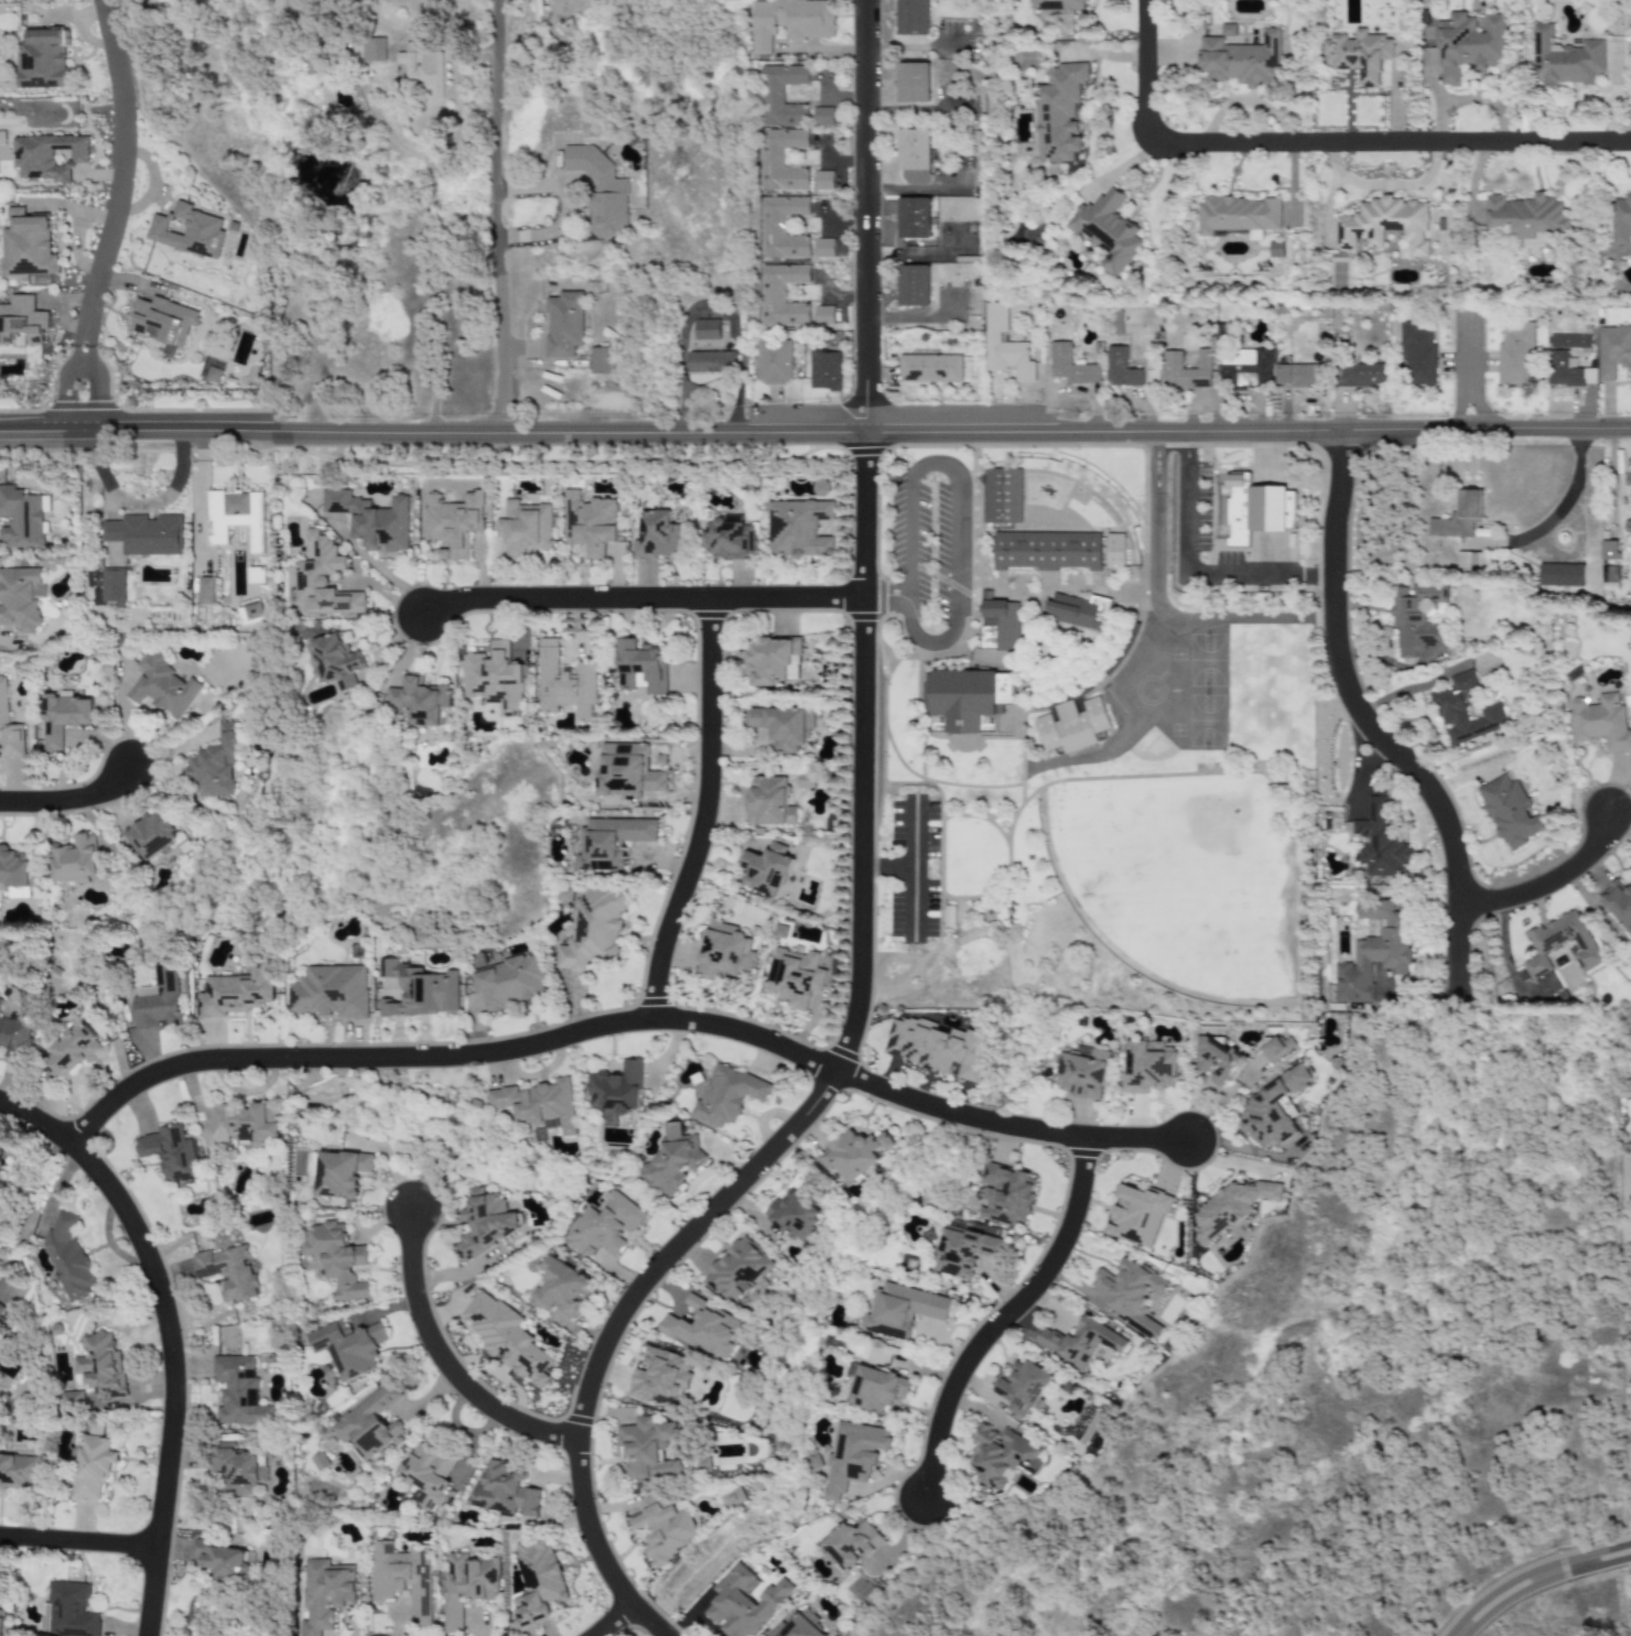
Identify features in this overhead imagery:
building: (1558, 1)
building: (1057, 6)
building: (912, 18)
building: (788, 21)
building: (1228, 30)
road: (439, 41)
building: (1468, 45)
road: (906, 46)
building: (372, 50)
building: (1358, 55)
building: (1564, 59)
building: (42, 61)
building: (1241, 61)
building: (422, 68)
building: (912, 83)
building: (780, 96)
road: (911, 112)
building: (1058, 112)
building: (822, 117)
building: (0, 139)
road: (1319, 145)
building: (914, 150)
building: (47, 156)
building: (781, 160)
building: (822, 181)
road: (428, 188)
building: (600, 192)
road: (561, 215)
road: (116, 216)
building: (1239, 216)
road: (496, 217)
road: (862, 217)
building: (912, 218)
building: (1526, 218)
road: (839, 221)
building: (1620, 221)
building: (1384, 225)
building: (781, 228)
building: (1106, 230)
building: (186, 231)
building: (26, 246)
building: (822, 249)
road: (918, 253)
building: (914, 285)
building: (780, 295)
road: (834, 296)
road: (706, 305)
building: (822, 316)
road: (921, 319)
building: (162, 321)
building: (21, 322)
building: (563, 324)
building: (704, 329)
building: (1568, 340)
building: (1003, 345)
building: (1613, 350)
building: (1416, 353)
building: (1513, 354)
building: (601, 360)
building: (773, 361)
building: (710, 362)
building: (1070, 366)
building: (1246, 367)
building: (929, 368)
building: (1120, 369)
building: (823, 370)
building: (1185, 370)
road: (1463, 372)
building: (213, 375)
building: (1297, 376)
building: (1361, 376)
road: (815, 434)
road: (932, 463)
building: (1628, 483)
building: (1002, 496)
road: (1566, 499)
road: (138, 507)
building: (1255, 509)
building: (1458, 516)
building: (235, 517)
building: (20, 518)
building: (371, 521)
building: (451, 523)
building: (587, 523)
building: (1627, 527)
building: (523, 528)
building: (798, 529)
building: (144, 534)
building: (656, 535)
building: (726, 539)
building: (1113, 550)
building: (1046, 551)
building: (1609, 551)
road: (906, 552)
road: (954, 552)
road: (1190, 572)
building: (1559, 575)
building: (323, 581)
building: (112, 586)
building: (206, 591)
building: (18, 597)
road: (886, 598)
road: (635, 599)
road: (1158, 606)
building: (1079, 611)
building: (250, 614)
building: (1416, 620)
building: (998, 626)
road: (930, 644)
building: (333, 661)
building: (771, 662)
building: (640, 667)
building: (493, 678)
building: (563, 684)
building: (162, 686)
building: (964, 697)
building: (418, 701)
building: (1465, 711)
building: (62, 718)
building: (1599, 723)
building: (938, 724)
building: (1072, 725)
building: (780, 726)
road: (1365, 728)
building: (8, 729)
building: (213, 766)
building: (627, 771)
building: (803, 780)
road: (73, 799)
building: (768, 802)
building: (1509, 812)
road: (701, 813)
building: (150, 835)
building: (1379, 841)
building: (611, 842)
building: (73, 859)
building: (13, 867)
road: (888, 868)
building: (765, 869)
road: (912, 869)
road: (1551, 879)
building: (18, 892)
building: (1619, 904)
building: (592, 929)
building: (1559, 943)
building: (725, 952)
building: (1372, 952)
building: (795, 976)
building: (508, 982)
building: (418, 990)
building: (330, 992)
building: (235, 993)
building: (156, 999)
road: (568, 1033)
building: (14, 1036)
building: (937, 1047)
building: (1275, 1048)
building: (72, 1051)
building: (1217, 1061)
building: (1147, 1066)
building: (1079, 1071)
road: (821, 1086)
building: (615, 1088)
building: (726, 1095)
building: (537, 1104)
building: (1274, 1110)
building: (241, 1124)
road: (1137, 1139)
building: (168, 1152)
building: (853, 1153)
building: (671, 1160)
building: (336, 1172)
building: (1004, 1194)
building: (1229, 1209)
building: (792, 1214)
building: (1137, 1214)
building: (483, 1224)
building: (602, 1226)
building: (962, 1250)
building: (66, 1257)
building: (335, 1258)
building: (736, 1269)
building: (227, 1272)
building: (560, 1288)
building: (1130, 1292)
building: (900, 1310)
building: (3, 1314)
road: (994, 1324)
building: (704, 1328)
road: (164, 1337)
building: (505, 1337)
building: (1080, 1342)
building: (349, 1348)
road: (436, 1356)
building: (659, 1376)
building: (1022, 1387)
building: (876, 1389)
building: (238, 1391)
building: (368, 1424)
building: (647, 1449)
building: (852, 1455)
building: (1001, 1456)
building: (318, 1462)
building: (702, 1464)
building: (91, 1465)
building: (237, 1467)
building: (17, 1471)
building: (425, 1476)
building: (503, 1491)
building: (733, 1498)
building: (662, 1528)
road: (77, 1542)
building: (852, 1546)
building: (222, 1560)
building: (402, 1579)
road: (1538, 1581)
building: (536, 1582)
building: (465, 1586)
building: (324, 1594)
building: (745, 1602)
building: (69, 1611)
building: (0, 1617)
road: (608, 1621)
building: (798, 1626)

